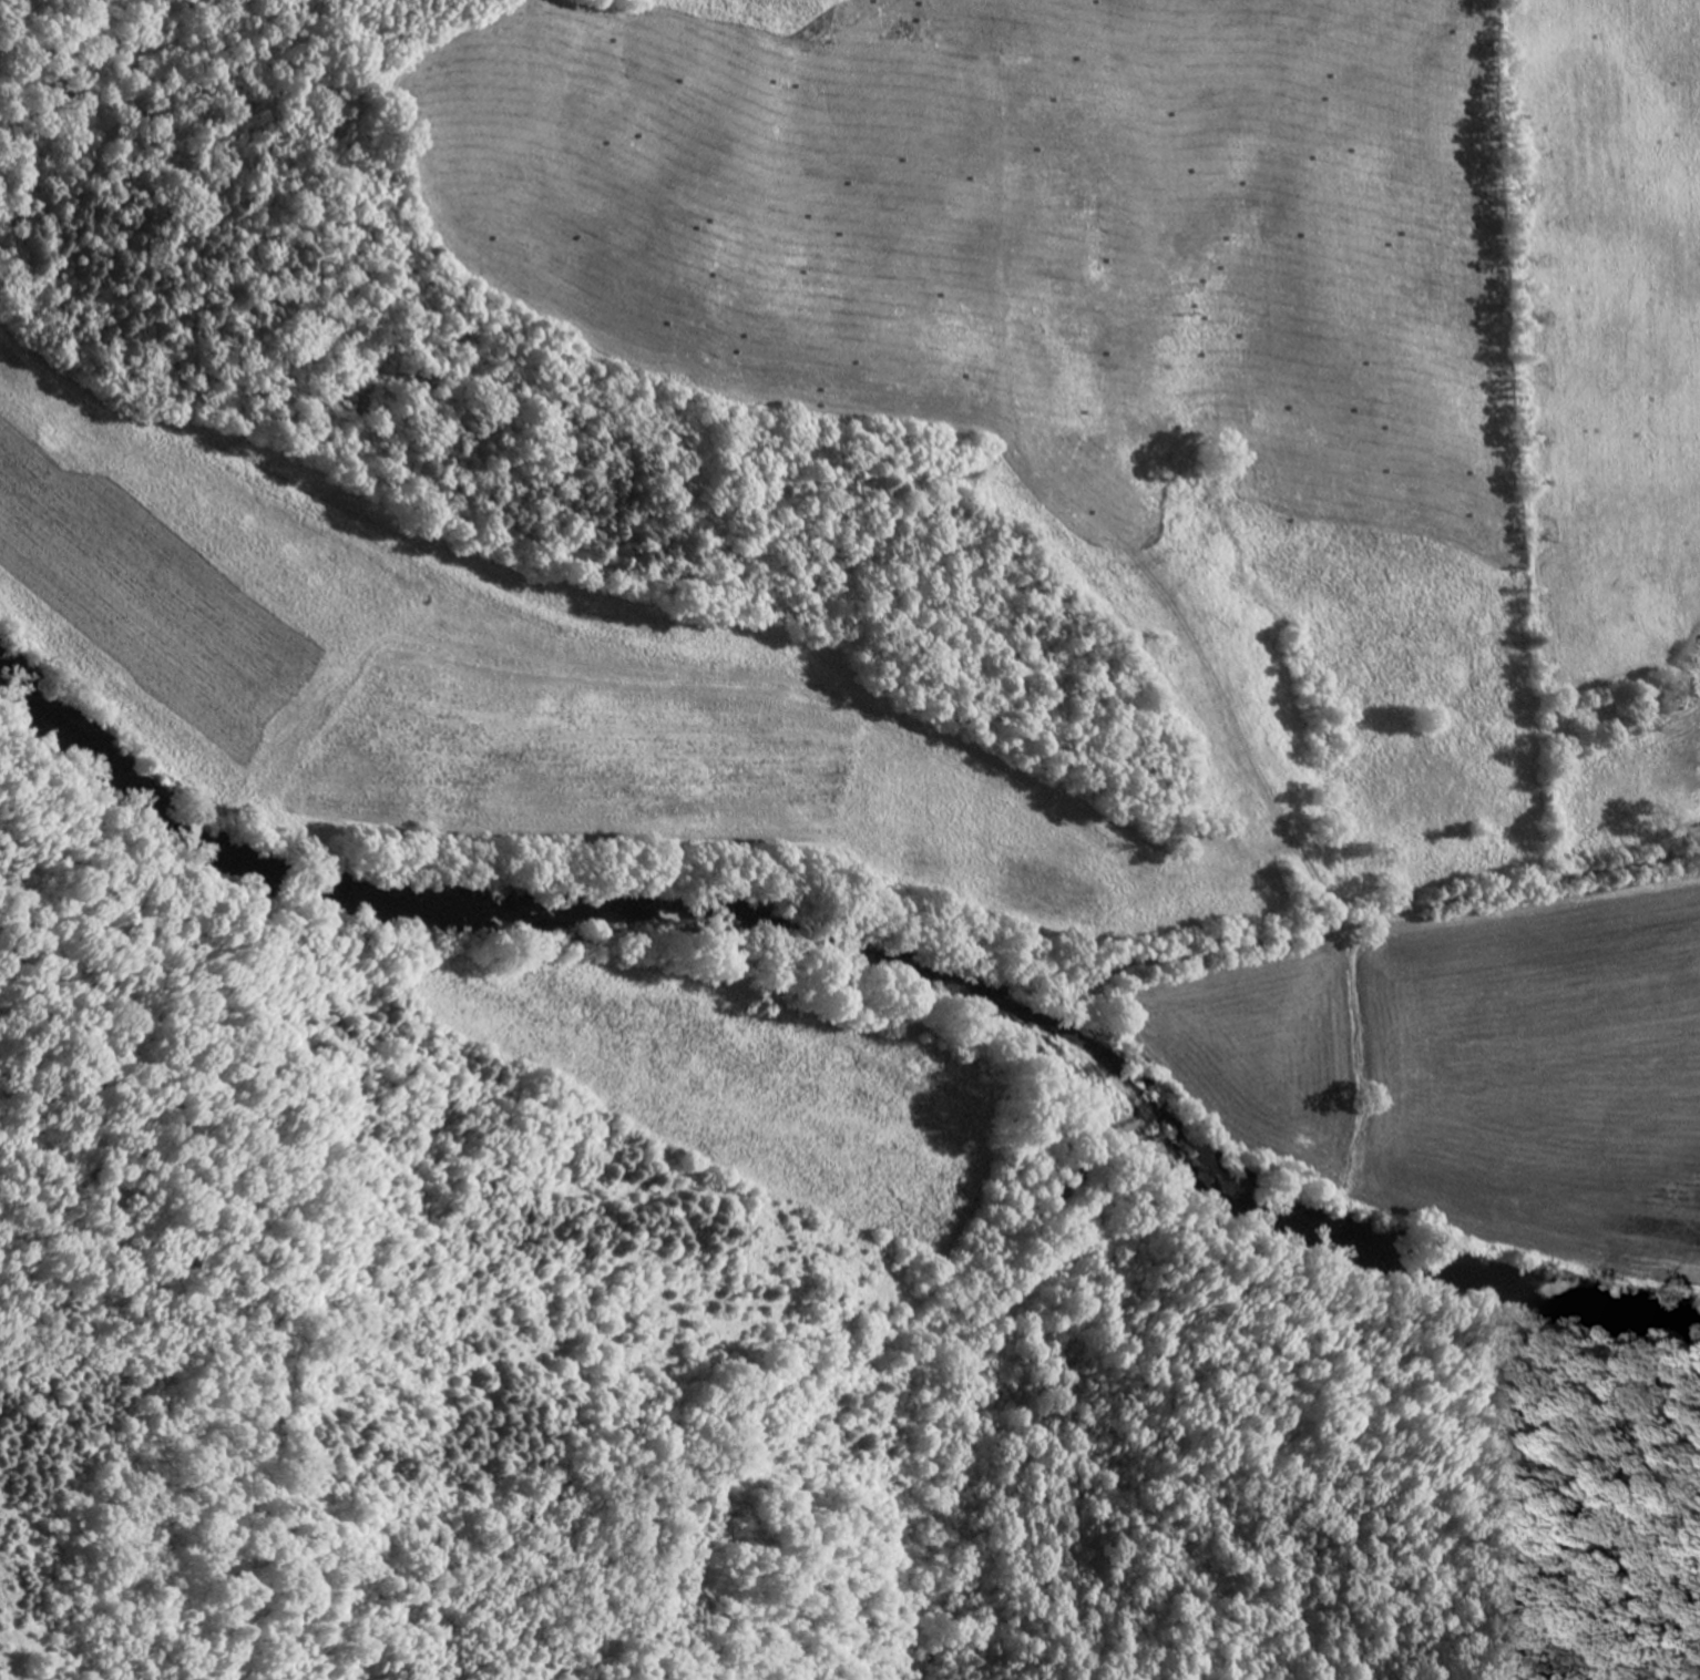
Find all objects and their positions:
road: (1391, 915)
river: (854, 964)

